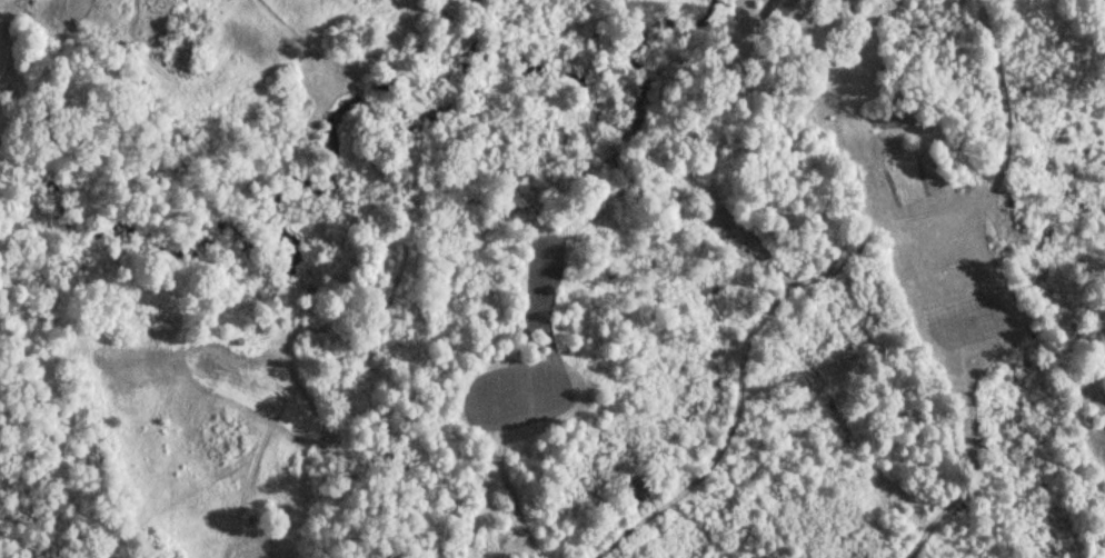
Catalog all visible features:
building: (785, 14)

